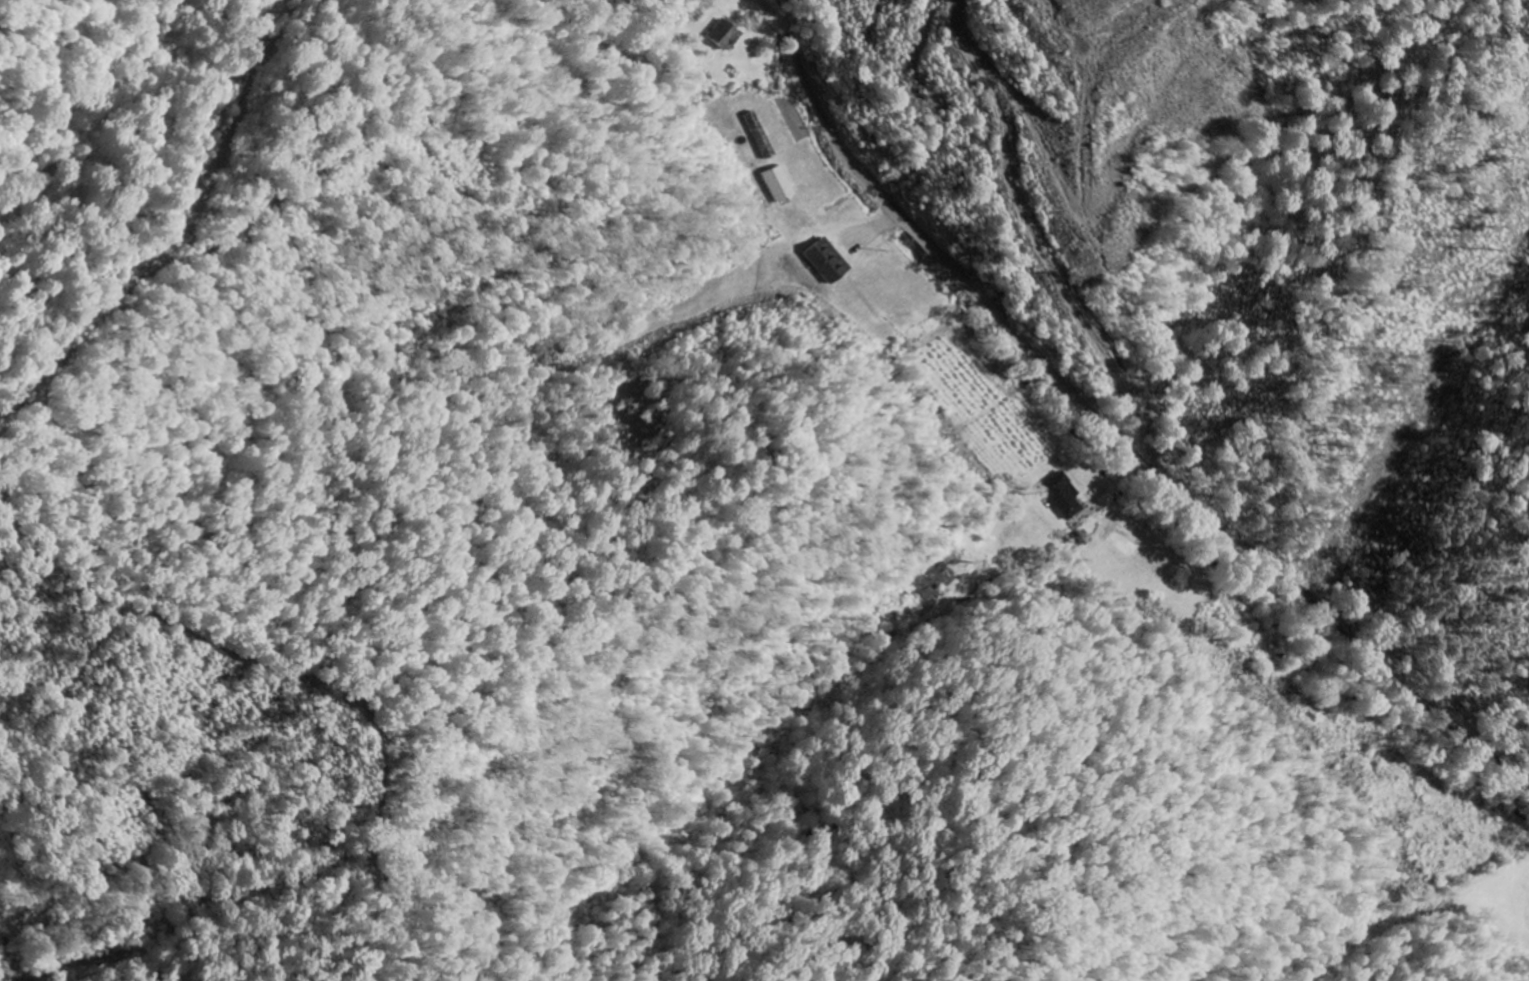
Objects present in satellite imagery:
building: (722, 34)
road: (605, 65)
building: (779, 183)
building: (828, 260)
road: (1121, 442)
building: (1063, 495)

